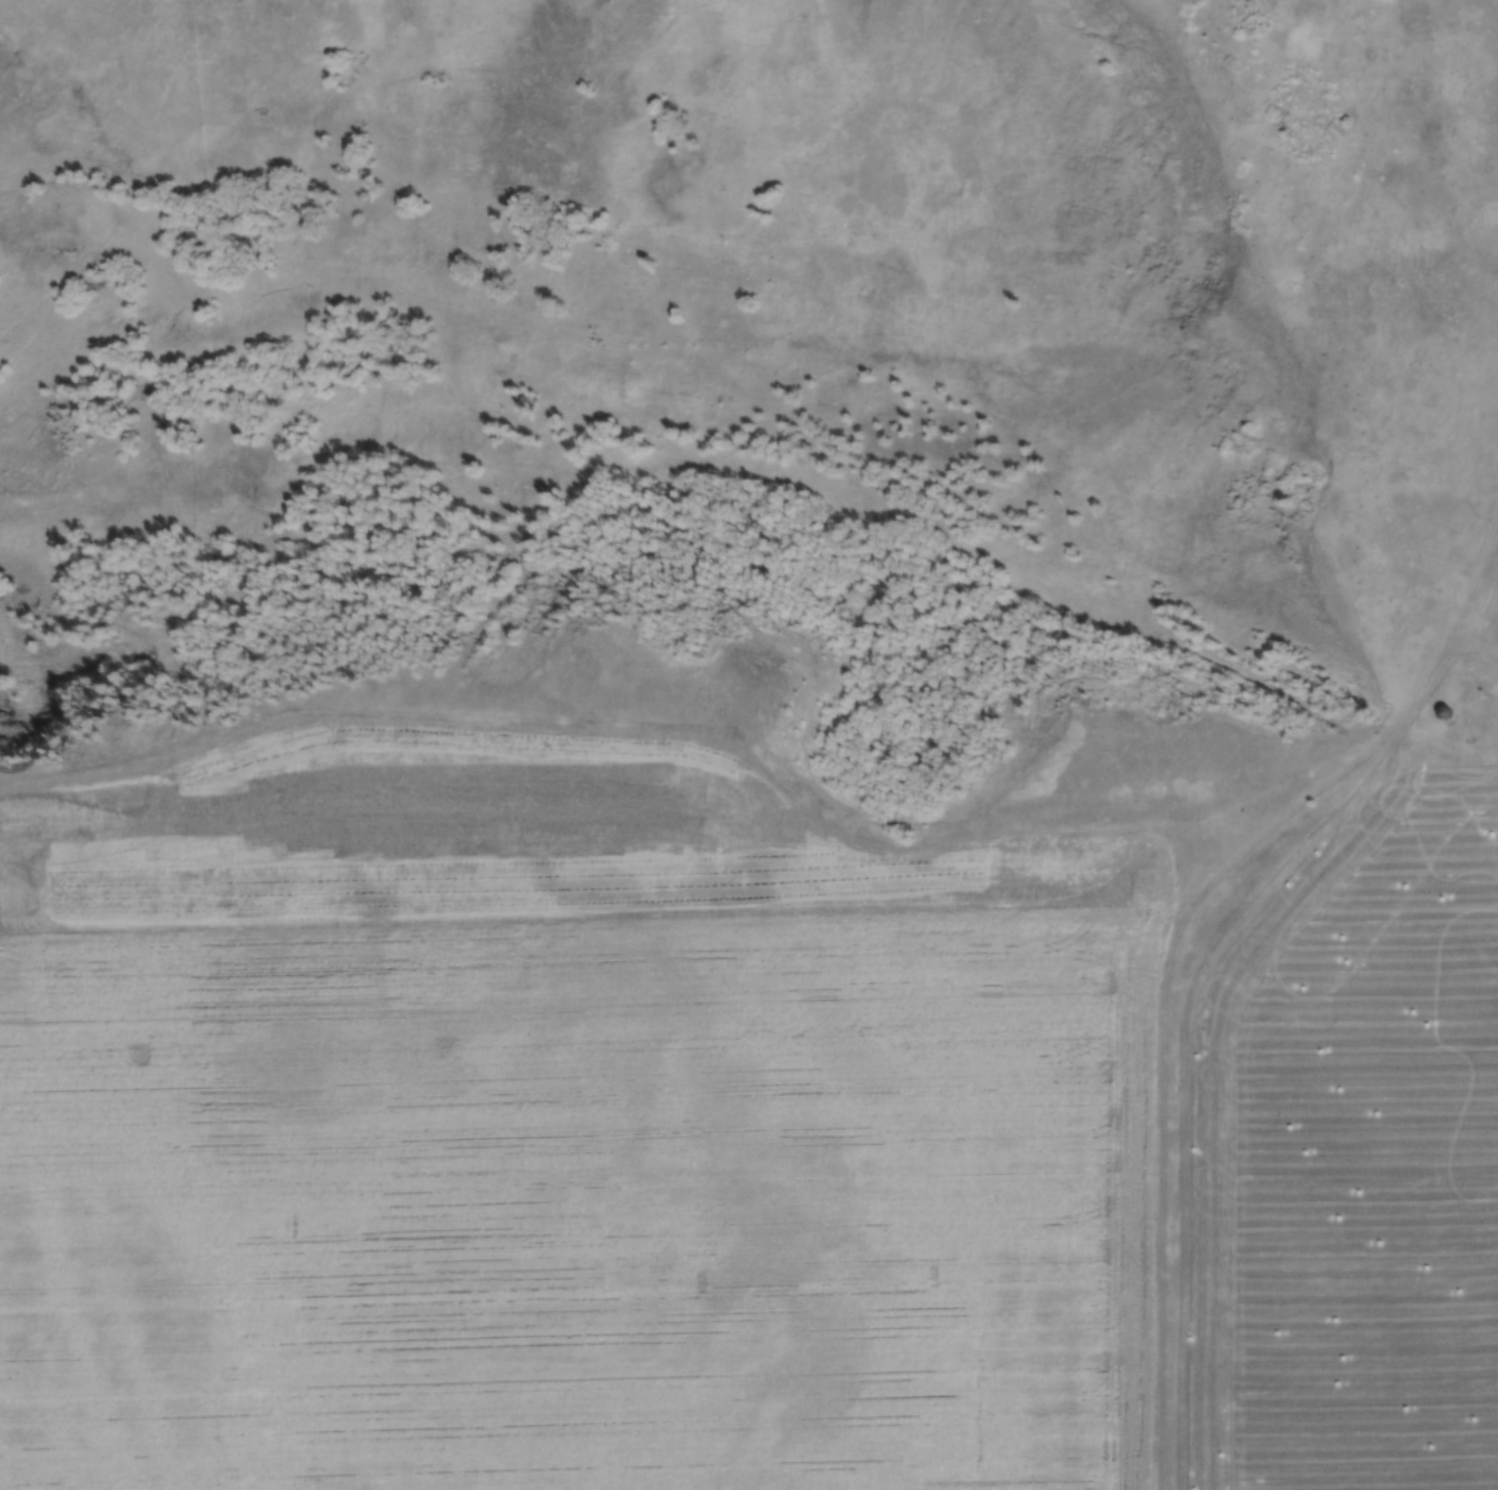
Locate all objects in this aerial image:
building: (1448, 712)
road: (1193, 979)

